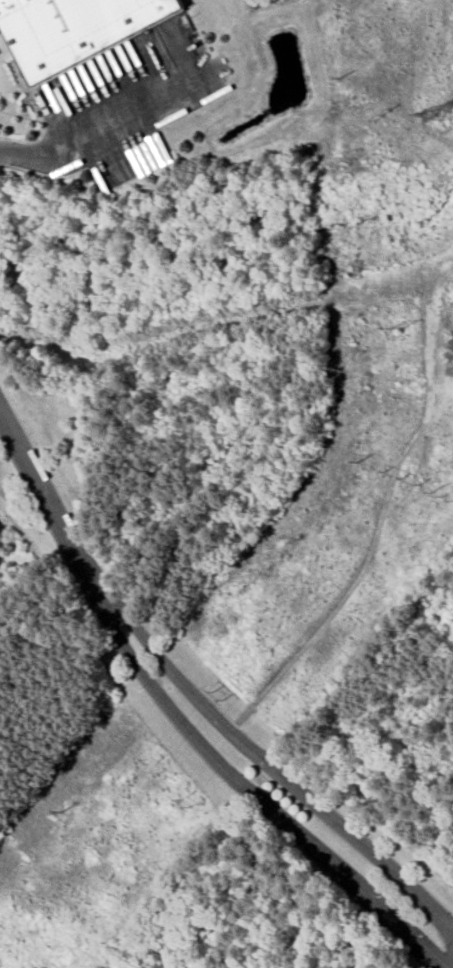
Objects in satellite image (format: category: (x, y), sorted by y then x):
building: (75, 29)
power tower: (339, 79)
parking lot: (127, 100)
power tower: (383, 114)
road: (20, 116)
power tower: (432, 116)
road: (102, 134)
power tower: (398, 328)
power tower: (357, 462)
power tower: (400, 478)
road: (45, 492)
power tower: (442, 496)
road: (127, 618)
power tower: (218, 696)
road: (242, 788)
road: (306, 799)
power tower: (183, 802)
power tower: (61, 812)

